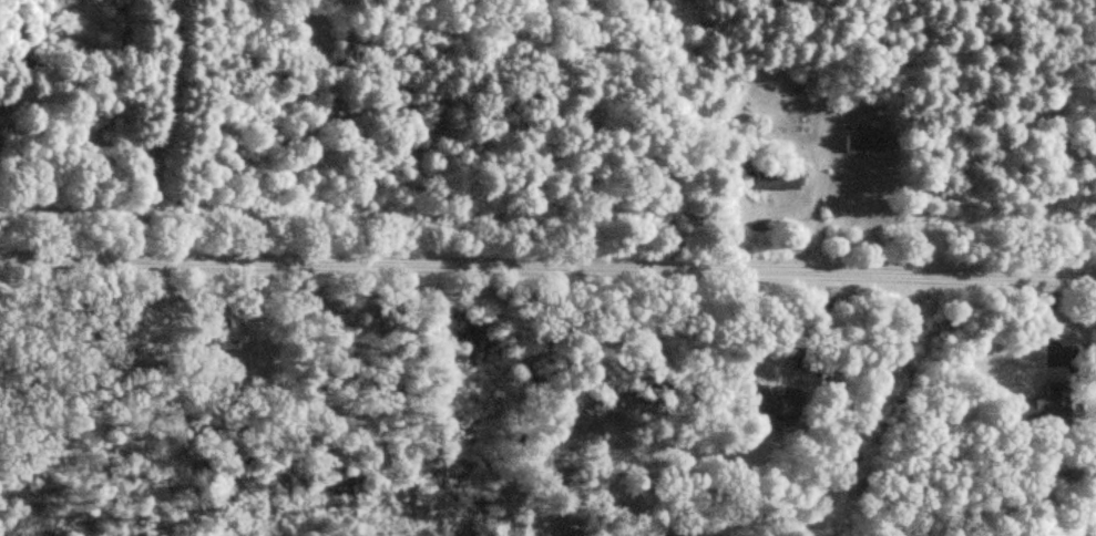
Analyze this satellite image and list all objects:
road: (152, 132)
building: (864, 141)
building: (777, 178)
road: (813, 212)
road: (547, 269)
building: (219, 334)
building: (774, 403)
building: (1047, 404)
road: (867, 406)

